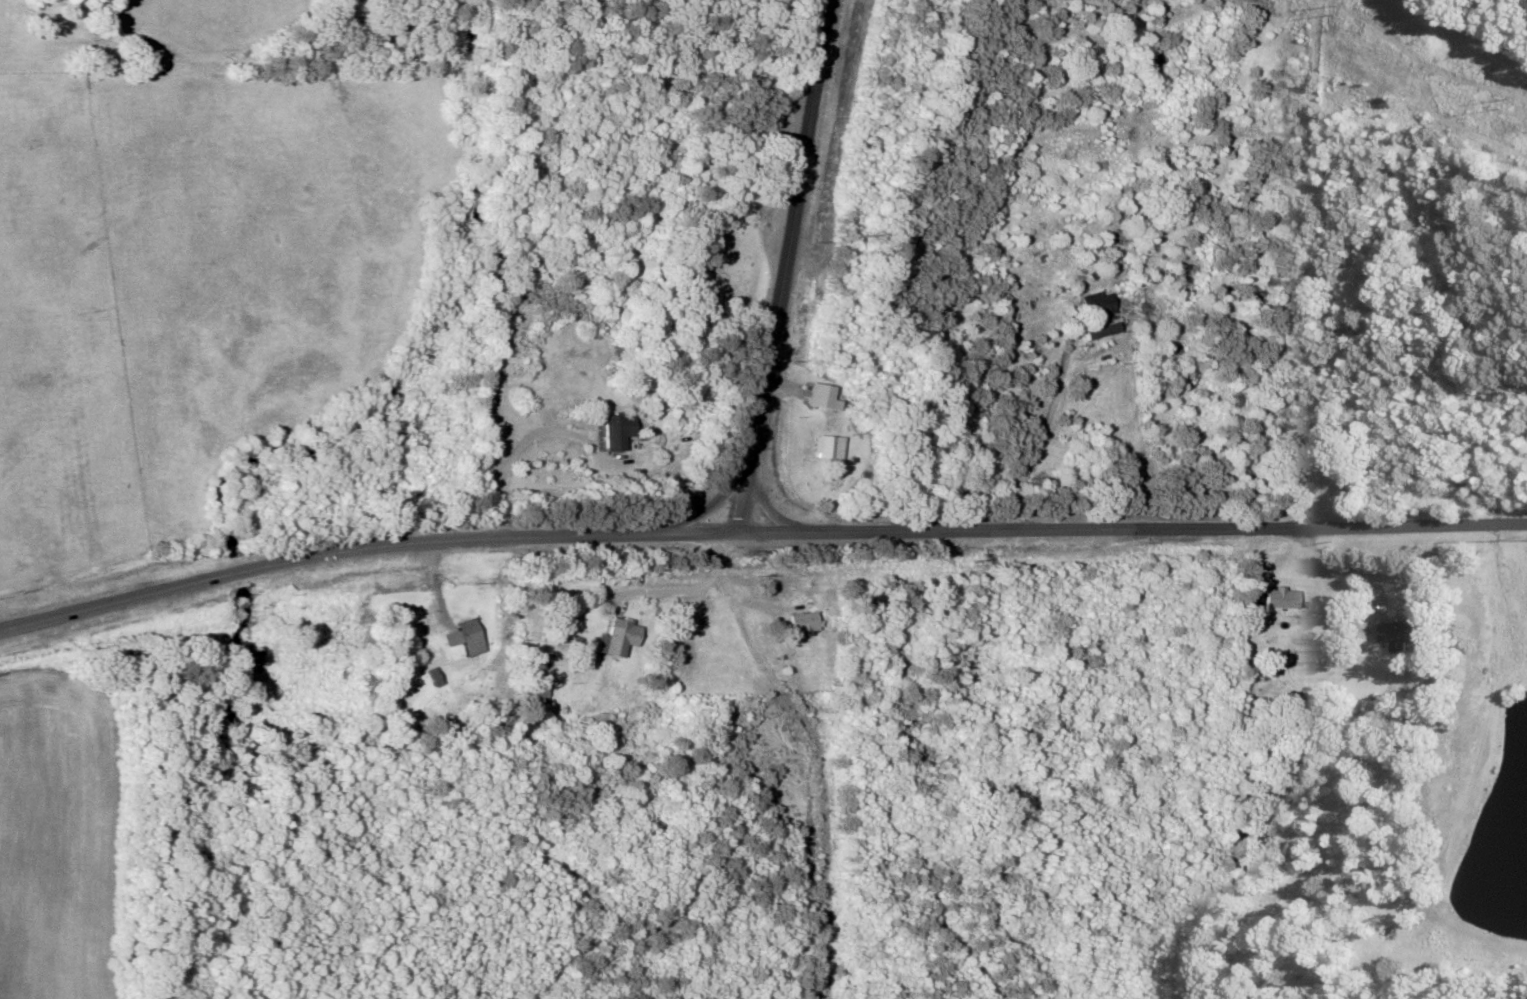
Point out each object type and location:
power tower: (1338, 9)
building: (1108, 200)
building: (1121, 236)
building: (1095, 250)
road: (781, 267)
building: (1095, 307)
building: (813, 398)
building: (607, 430)
building: (819, 448)
building: (1316, 453)
road: (495, 504)
road: (711, 506)
road: (766, 507)
road: (1134, 526)
road: (366, 549)
building: (1280, 600)
building: (795, 623)
building: (1397, 634)
building: (618, 638)
building: (464, 639)
building: (1269, 667)
building: (538, 687)

